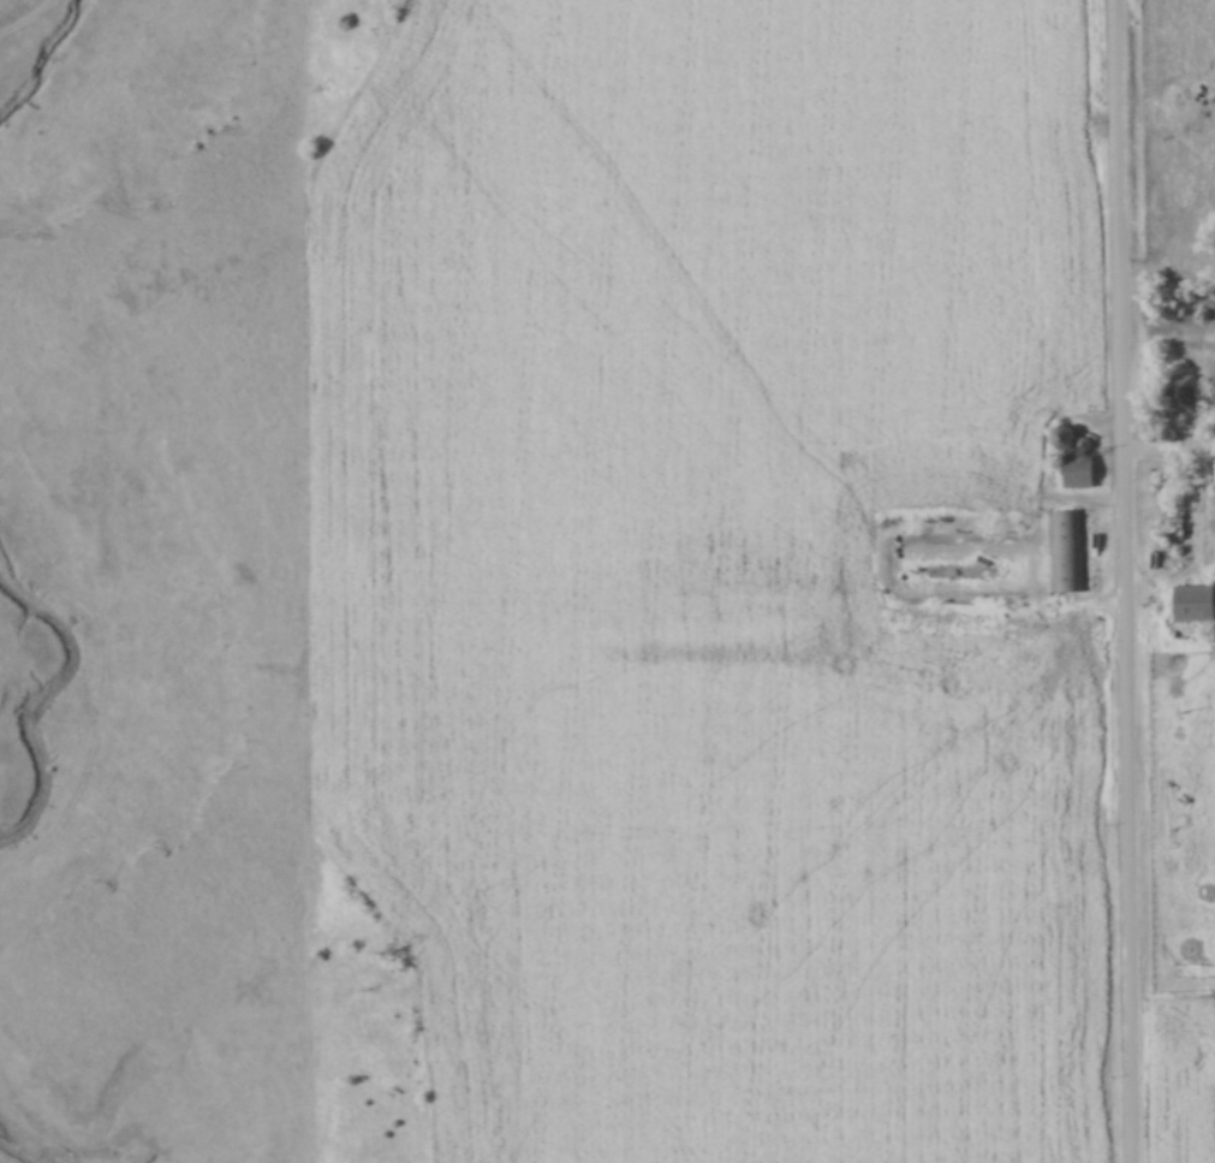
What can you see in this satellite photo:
building: (1183, 397)
road: (1208, 503)
building: (1065, 553)
road: (1127, 581)
building: (1196, 605)

